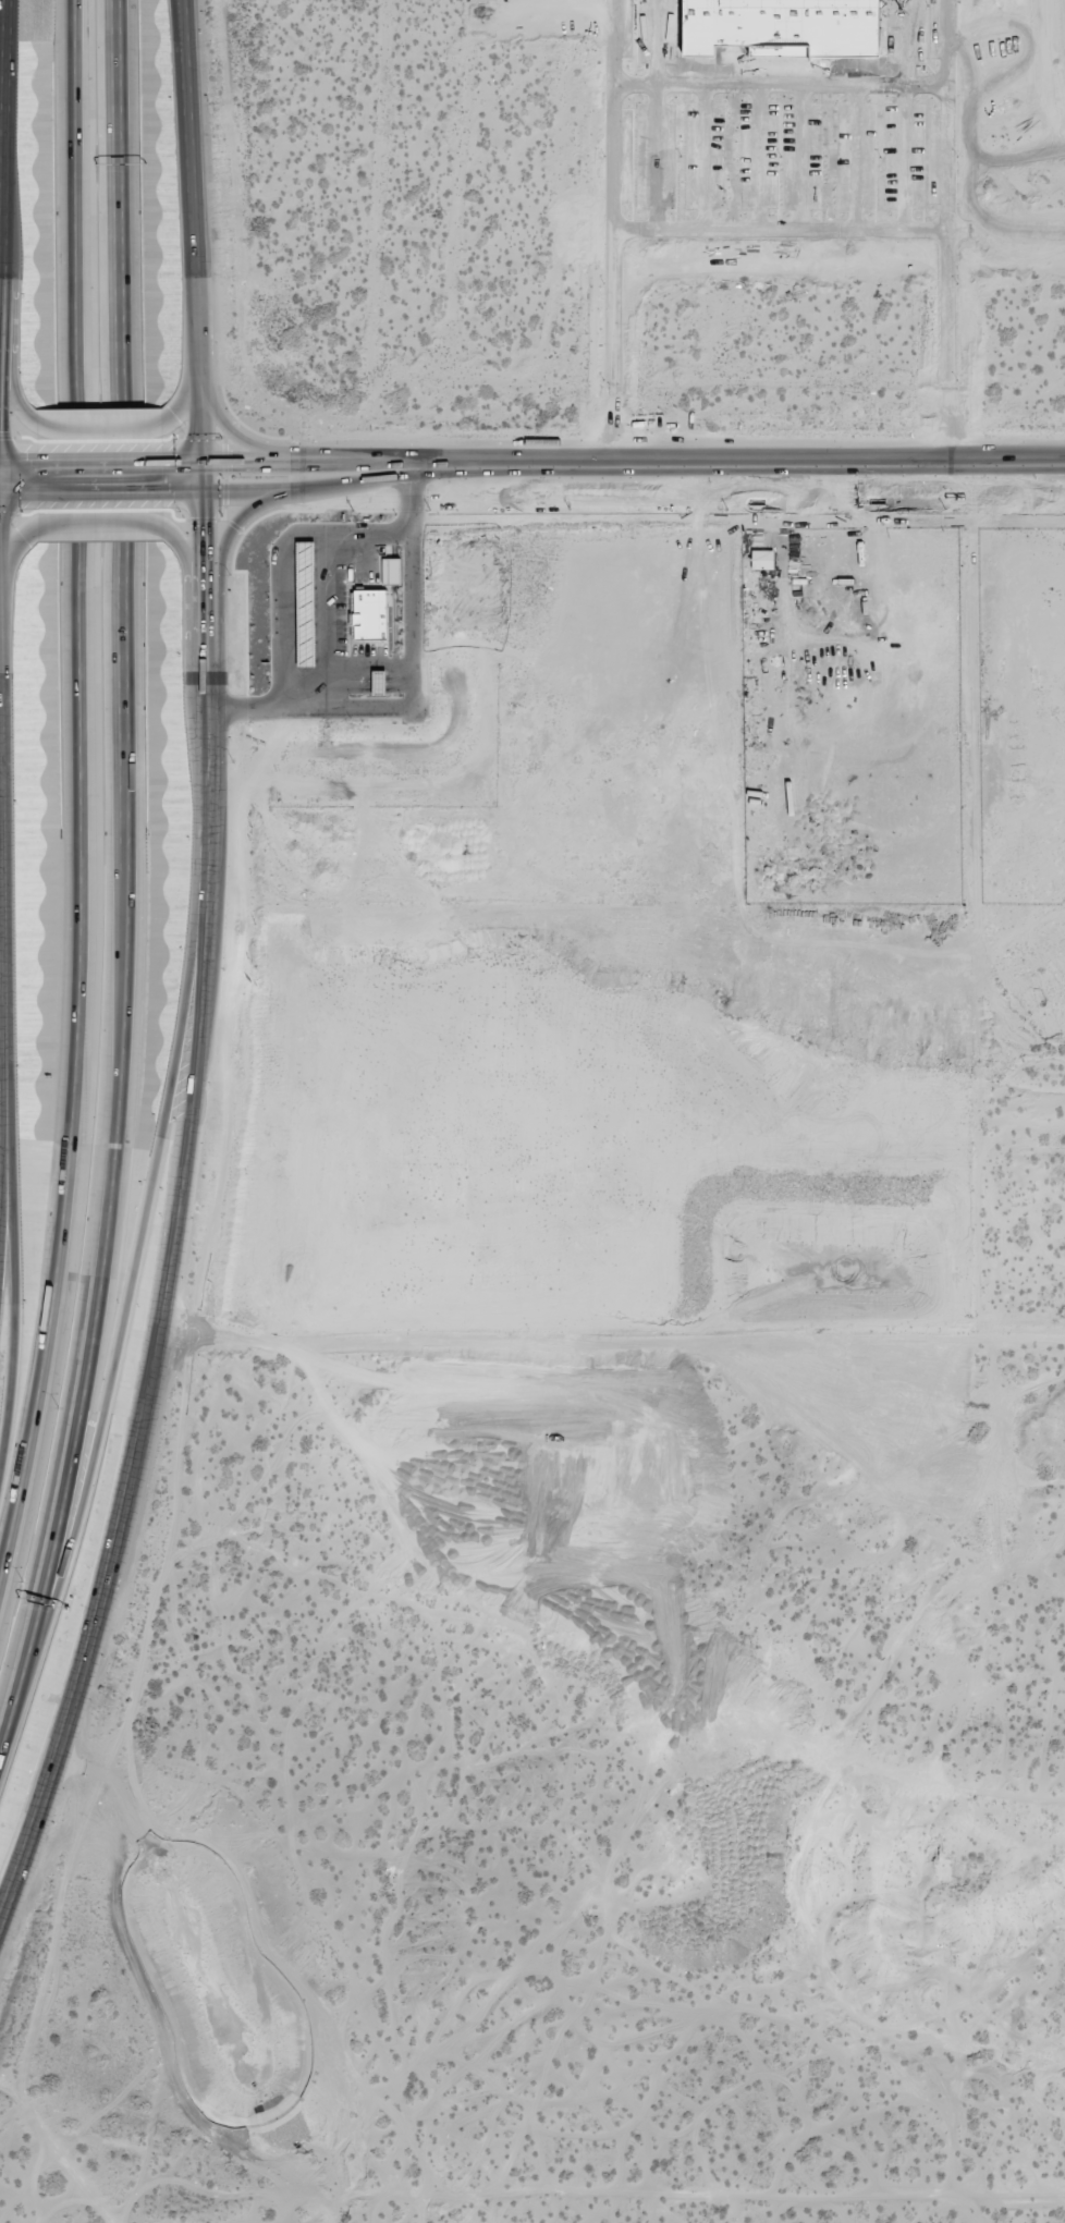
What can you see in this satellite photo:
building: (804, 217)
road: (2, 303)
road: (15, 393)
road: (184, 396)
road: (100, 426)
traffic signals: (0, 430)
road: (16, 459)
traffic signals: (34, 459)
road: (98, 459)
traffic signals: (231, 460)
road: (317, 461)
road: (768, 463)
road: (317, 485)
road: (20, 490)
road: (100, 490)
traffic signals: (162, 491)
road: (100, 524)
traffic signals: (204, 526)
road: (16, 540)
road: (187, 554)
building: (762, 560)
road: (285, 569)
building: (391, 571)
building: (305, 603)
building: (368, 615)
building: (378, 683)
road: (77, 786)
road: (128, 881)
road: (201, 969)
road: (4, 1002)
road: (15, 1295)
road: (122, 1323)

